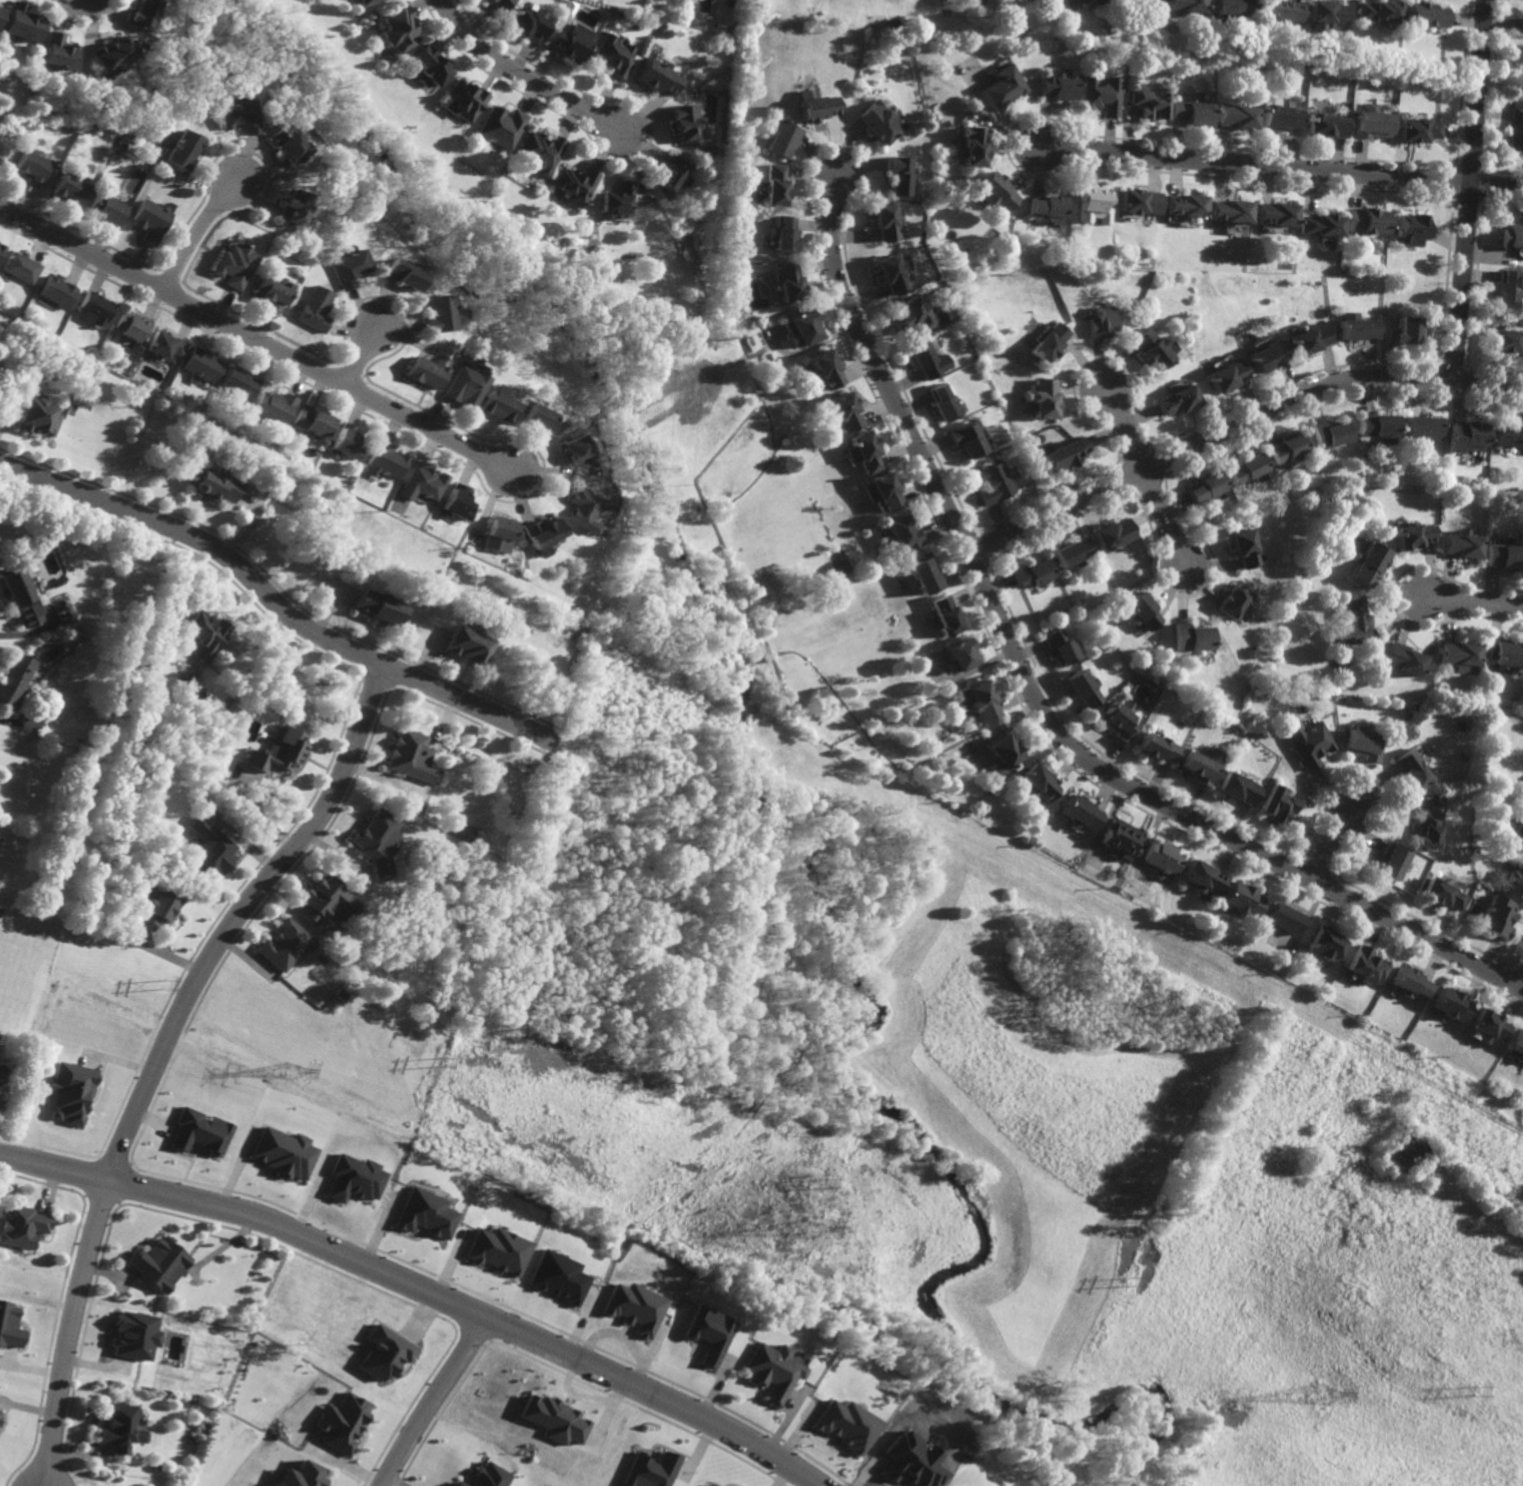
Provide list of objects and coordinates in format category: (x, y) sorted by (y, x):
building: (348, 0)
building: (486, 0)
building: (366, 1)
building: (1092, 1)
building: (1136, 2)
building: (498, 3)
building: (1183, 5)
building: (1230, 8)
building: (0, 9)
building: (1279, 10)
building: (1376, 10)
building: (1324, 11)
building: (1422, 13)
building: (139, 14)
building: (617, 14)
building: (524, 22)
building: (21, 23)
building: (1519, 23)
building: (398, 28)
building: (660, 28)
building: (565, 43)
building: (56, 51)
building: (111, 53)
building: (611, 55)
building: (429, 66)
road: (520, 74)
building: (655, 76)
building: (1003, 85)
building: (1057, 85)
building: (1102, 94)
building: (463, 99)
building: (1149, 103)
building: (812, 105)
building: (1190, 111)
building: (237, 116)
building: (1234, 116)
building: (1278, 117)
building: (876, 121)
building: (685, 122)
building: (1371, 122)
building: (1325, 125)
building: (499, 126)
building: (1514, 128)
building: (1415, 130)
building: (779, 138)
building: (286, 144)
building: (971, 145)
building: (184, 150)
building: (538, 152)
building: (30, 166)
road: (1279, 166)
building: (670, 174)
building: (898, 175)
building: (573, 185)
building: (771, 185)
building: (69, 189)
road: (1467, 191)
building: (992, 194)
building: (1091, 198)
building: (614, 201)
building: (1134, 202)
building: (1181, 205)
building: (293, 207)
building: (105, 208)
building: (1046, 209)
building: (1226, 212)
building: (1271, 214)
building: (150, 220)
building: (884, 221)
building: (1363, 221)
building: (1317, 226)
building: (1408, 229)
road: (196, 230)
building: (780, 233)
building: (1510, 237)
building: (1, 247)
building: (19, 267)
building: (236, 267)
building: (347, 268)
building: (401, 274)
building: (889, 274)
building: (784, 283)
building: (1503, 289)
building: (56, 291)
building: (270, 294)
building: (315, 309)
building: (93, 310)
building: (437, 313)
building: (912, 315)
building: (1100, 322)
building: (134, 326)
building: (937, 327)
building: (1354, 328)
building: (799, 330)
building: (1405, 331)
road: (255, 337)
building: (1306, 340)
building: (1504, 342)
building: (1046, 343)
building: (165, 345)
building: (1147, 350)
road: (360, 357)
building: (1264, 357)
building: (927, 362)
building: (204, 365)
building: (822, 370)
building: (422, 372)
building: (1223, 376)
building: (240, 383)
building: (465, 386)
building: (1041, 400)
building: (1171, 402)
building: (497, 404)
building: (943, 404)
building: (275, 408)
building: (34, 414)
building: (841, 414)
building: (534, 418)
building: (312, 422)
road: (1234, 423)
building: (1379, 429)
road: (1121, 430)
building: (1422, 430)
building: (1329, 435)
building: (1507, 438)
building: (1466, 439)
building: (966, 441)
building: (348, 444)
building: (572, 449)
building: (1286, 451)
building: (860, 453)
building: (1060, 458)
building: (1420, 460)
building: (386, 461)
building: (1244, 471)
building: (420, 483)
building: (992, 485)
building: (214, 486)
building: (1204, 489)
building: (880, 495)
building: (456, 503)
building: (582, 510)
road: (1163, 518)
building: (1112, 531)
building: (498, 533)
building: (898, 534)
building: (542, 535)
building: (1409, 540)
building: (880, 548)
building: (1074, 549)
building: (1243, 549)
building: (1457, 549)
building: (1503, 556)
building: (1366, 565)
building: (1033, 569)
building: (925, 570)
building: (1236, 597)
building: (20, 598)
road: (1470, 599)
road: (274, 601)
building: (376, 606)
building: (1144, 606)
building: (946, 612)
building: (1351, 619)
building: (205, 634)
building: (1195, 634)
building: (465, 645)
building: (1062, 645)
building: (1502, 649)
building: (1455, 651)
building: (959, 652)
building: (1399, 657)
building: (14, 679)
building: (1085, 685)
building: (1298, 690)
building: (980, 698)
road: (1036, 699)
building: (1120, 720)
building: (29, 722)
building: (1307, 740)
building: (1363, 743)
building: (1160, 745)
building: (278, 750)
building: (1002, 752)
building: (410, 757)
building: (1201, 763)
building: (1412, 768)
building: (1036, 780)
building: (1235, 787)
building: (1275, 803)
building: (1081, 811)
building: (1427, 829)
building: (1519, 835)
building: (1122, 837)
road: (1330, 842)
building: (376, 843)
building: (209, 849)
building: (1161, 855)
building: (1389, 861)
building: (1199, 876)
building: (1467, 876)
building: (1512, 881)
building: (1483, 891)
building: (1441, 894)
building: (1480, 896)
building: (326, 899)
building: (1239, 899)
building: (1496, 917)
building: (1282, 918)
building: (1322, 944)
building: (285, 945)
building: (1363, 966)
power tower: (163, 979)
building: (1407, 984)
road: (1522, 986)
building: (1449, 1006)
building: (1484, 1027)
building: (1516, 1047)
road: (160, 1052)
power tower: (439, 1062)
power tower: (289, 1071)
building: (1, 1073)
building: (70, 1092)
building: (199, 1131)
building: (282, 1153)
building: (1399, 1155)
building: (351, 1178)
power tower: (823, 1182)
building: (423, 1214)
building: (22, 1226)
power tower: (804, 1229)
building: (495, 1250)
building: (157, 1264)
building: (553, 1277)
power tower: (1133, 1283)
road: (421, 1289)
building: (632, 1308)
building: (11, 1326)
building: (706, 1333)
building: (134, 1335)
building: (382, 1353)
building: (772, 1370)
power tower: (1478, 1389)
power tower: (1321, 1395)
road: (430, 1400)
building: (0, 1415)
building: (555, 1419)
building: (340, 1423)
building: (845, 1425)
building: (118, 1428)
building: (652, 1470)
building: (300, 1475)
building: (489, 1476)
building: (458, 1484)
building: (711, 1485)

